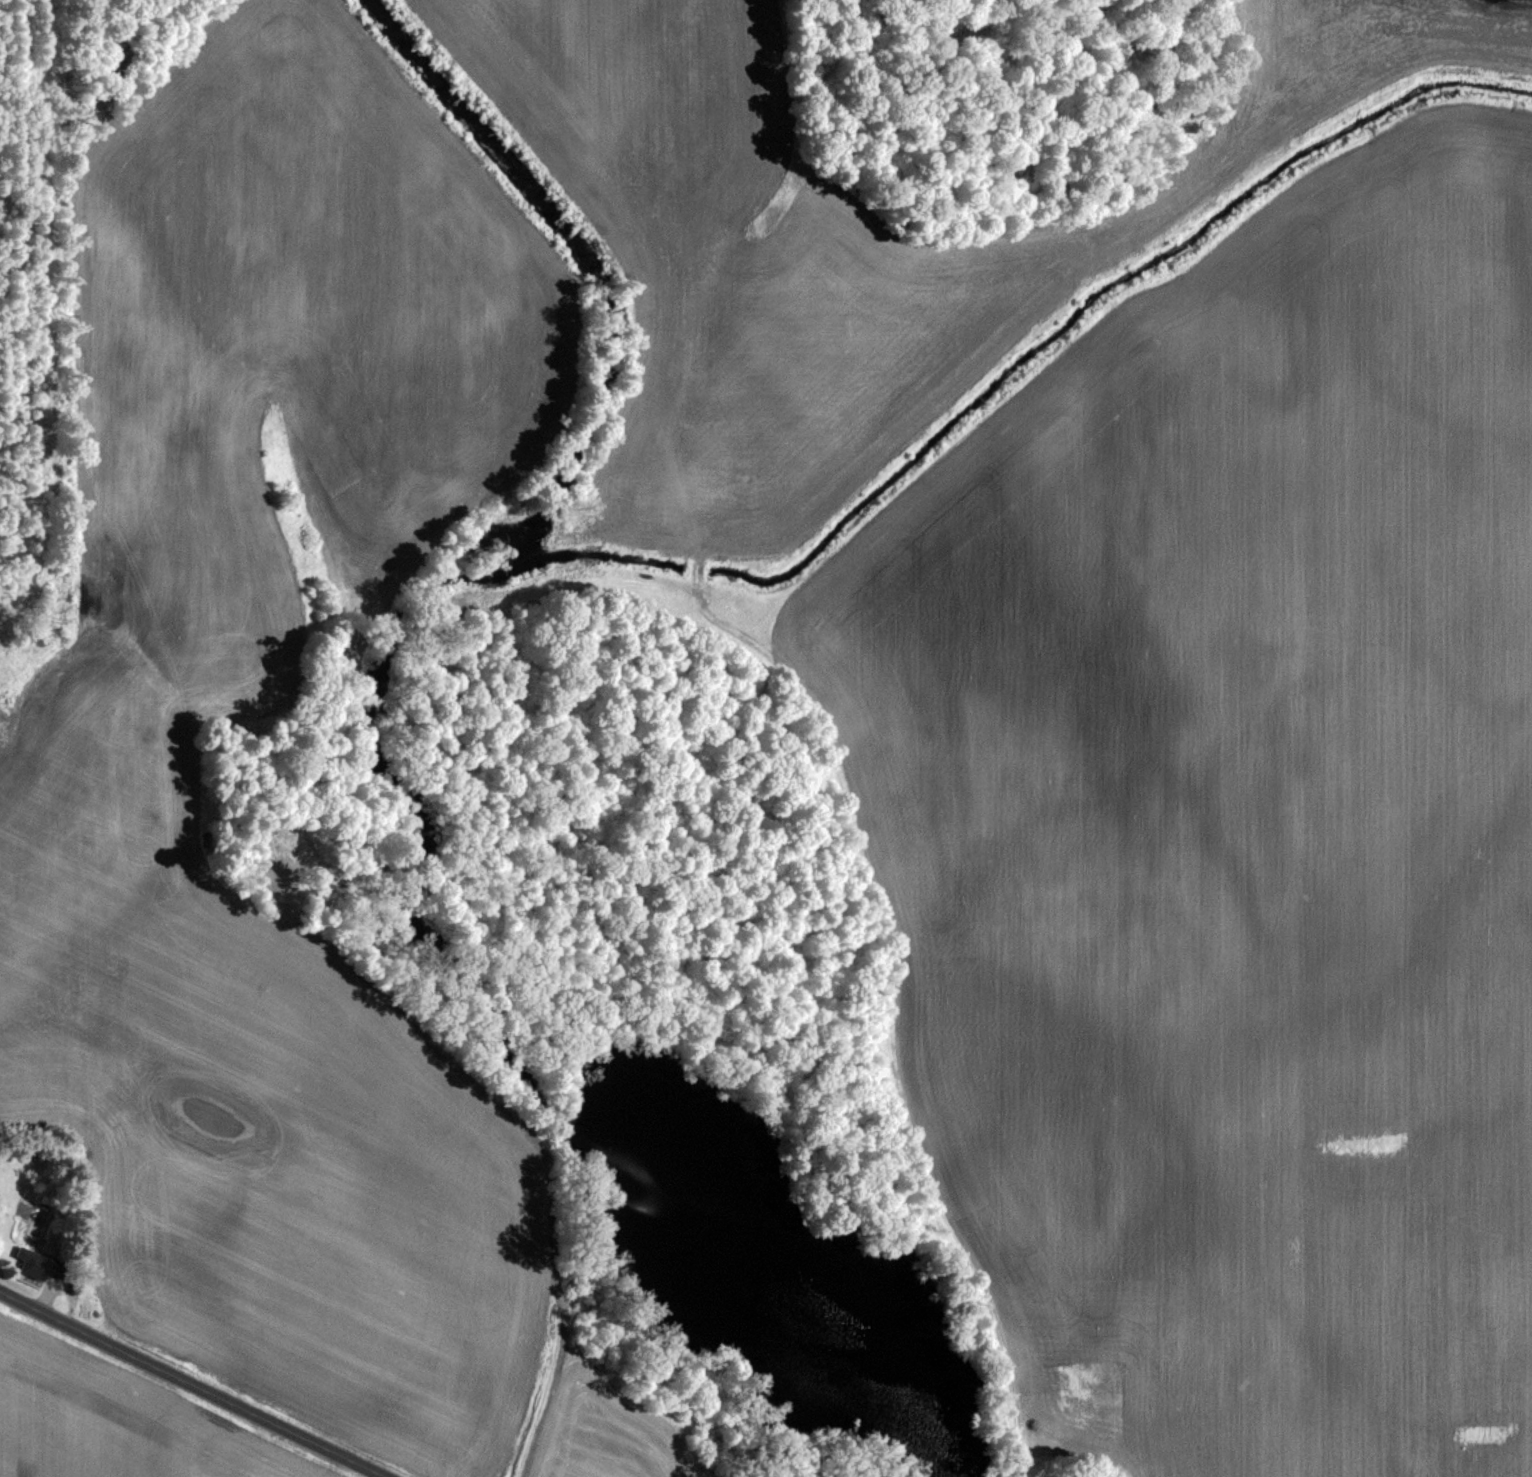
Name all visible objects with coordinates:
building: (40, 1262)
road: (194, 1384)

